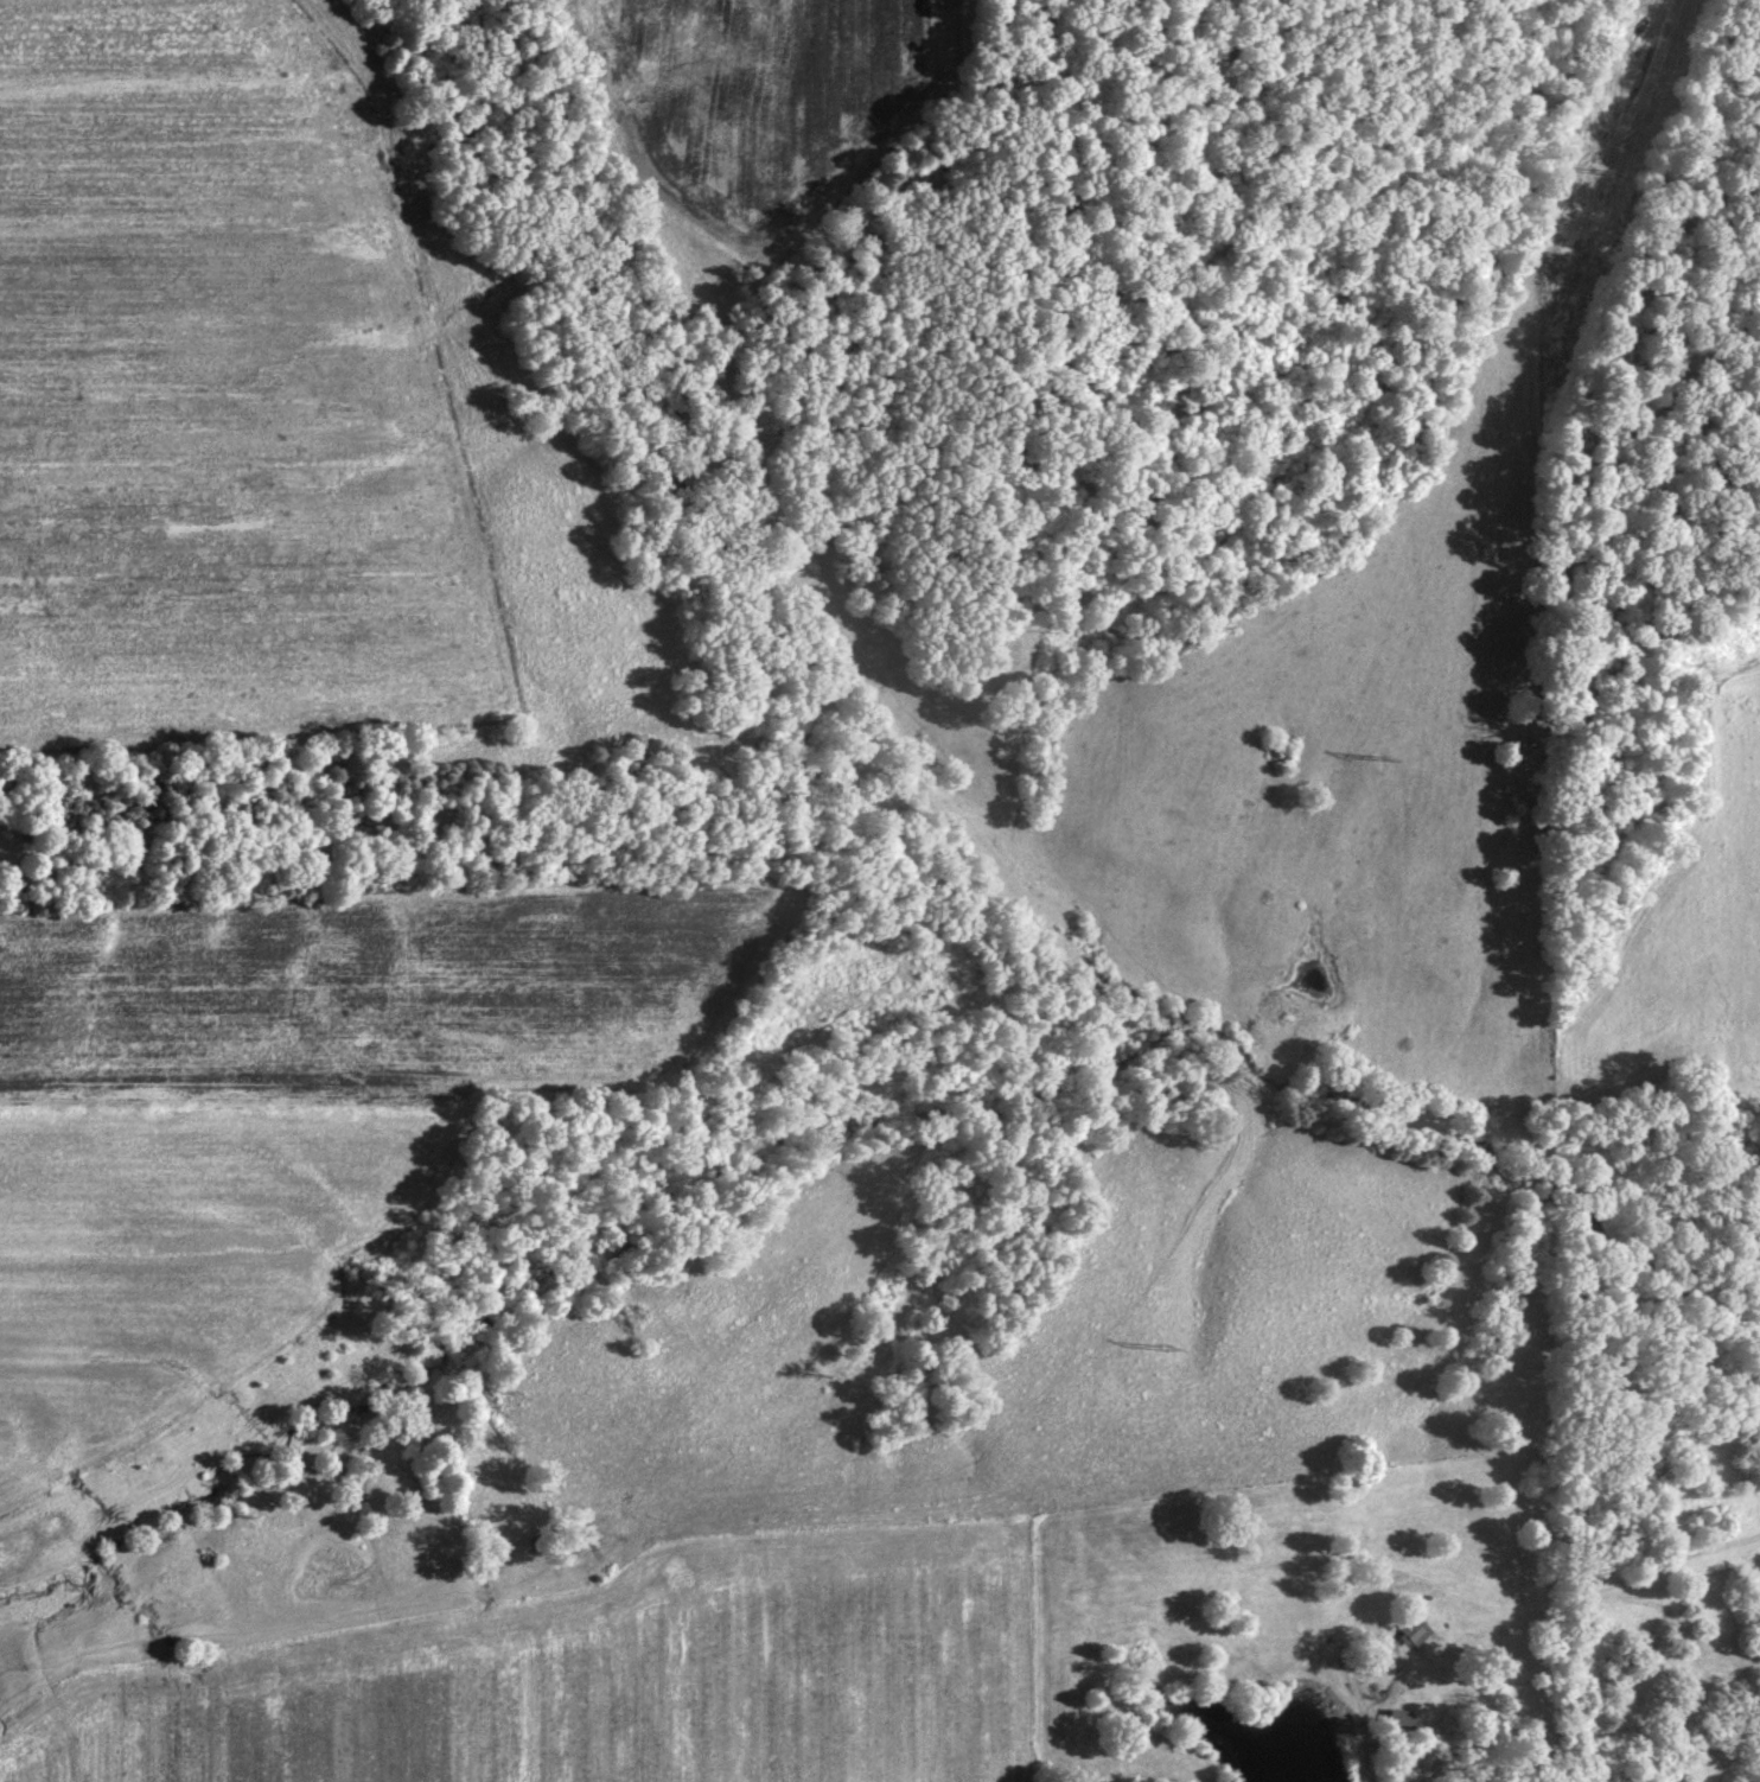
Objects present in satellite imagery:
building: (1408, 1636)
building: (1394, 1726)

